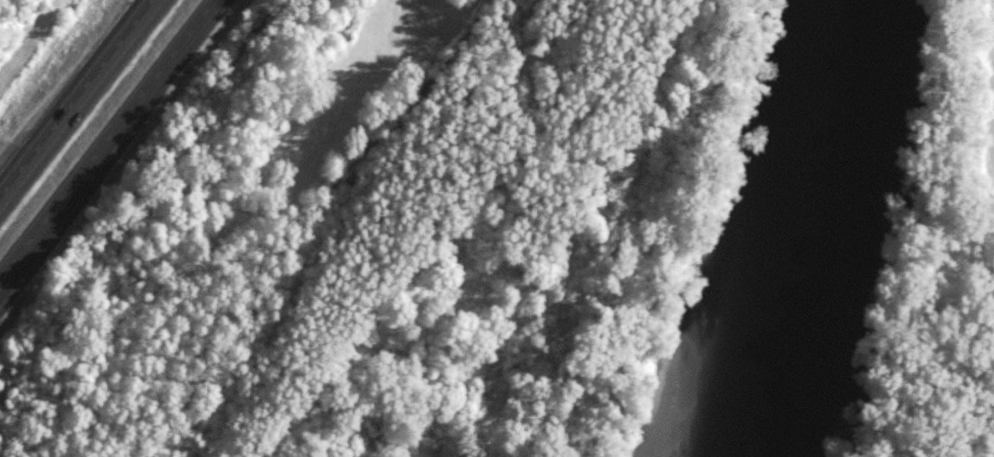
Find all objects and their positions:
road: (75, 102)
road: (122, 128)
river: (831, 229)
road: (12, 271)

